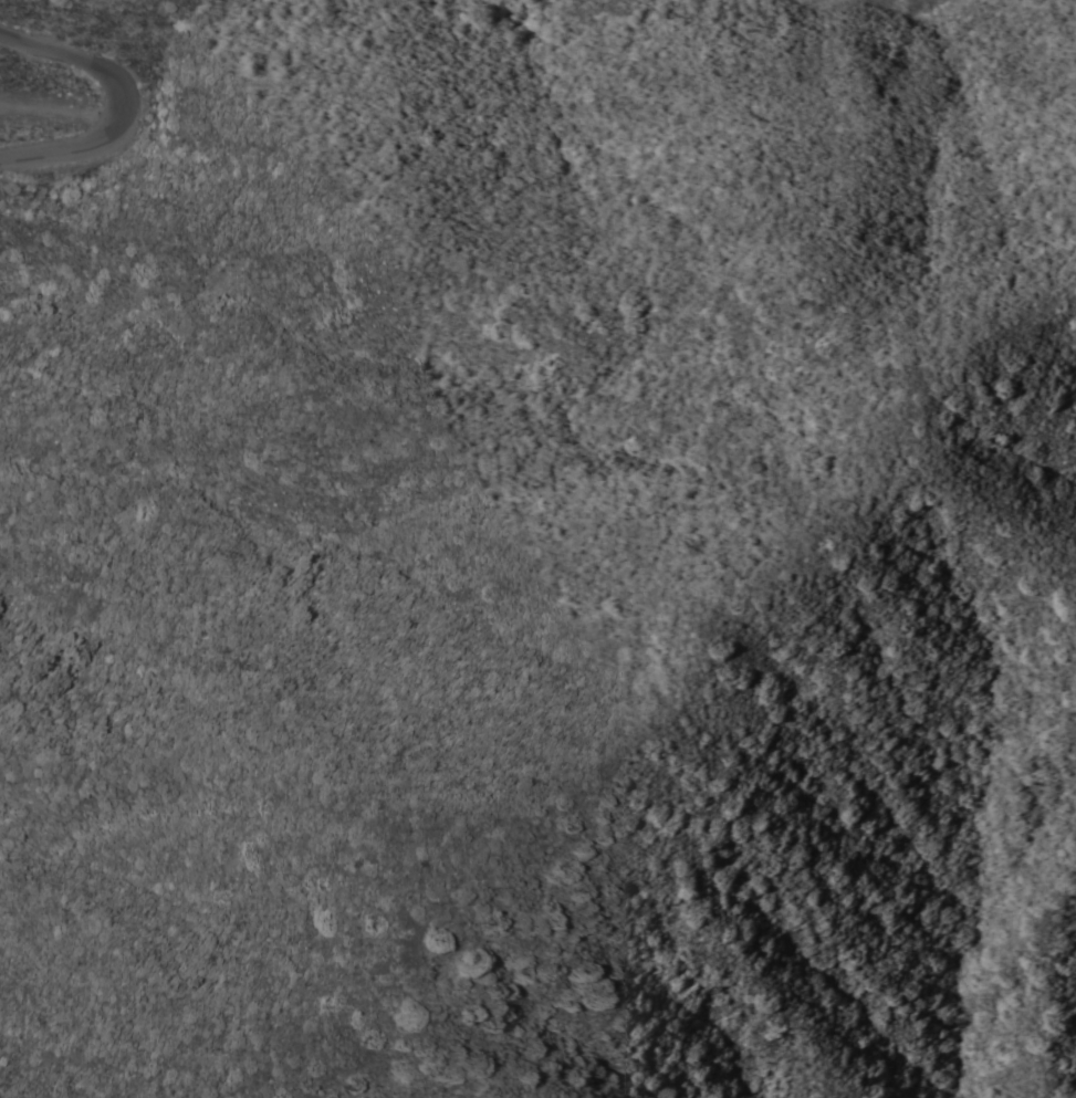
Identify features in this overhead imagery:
road: (114, 107)

